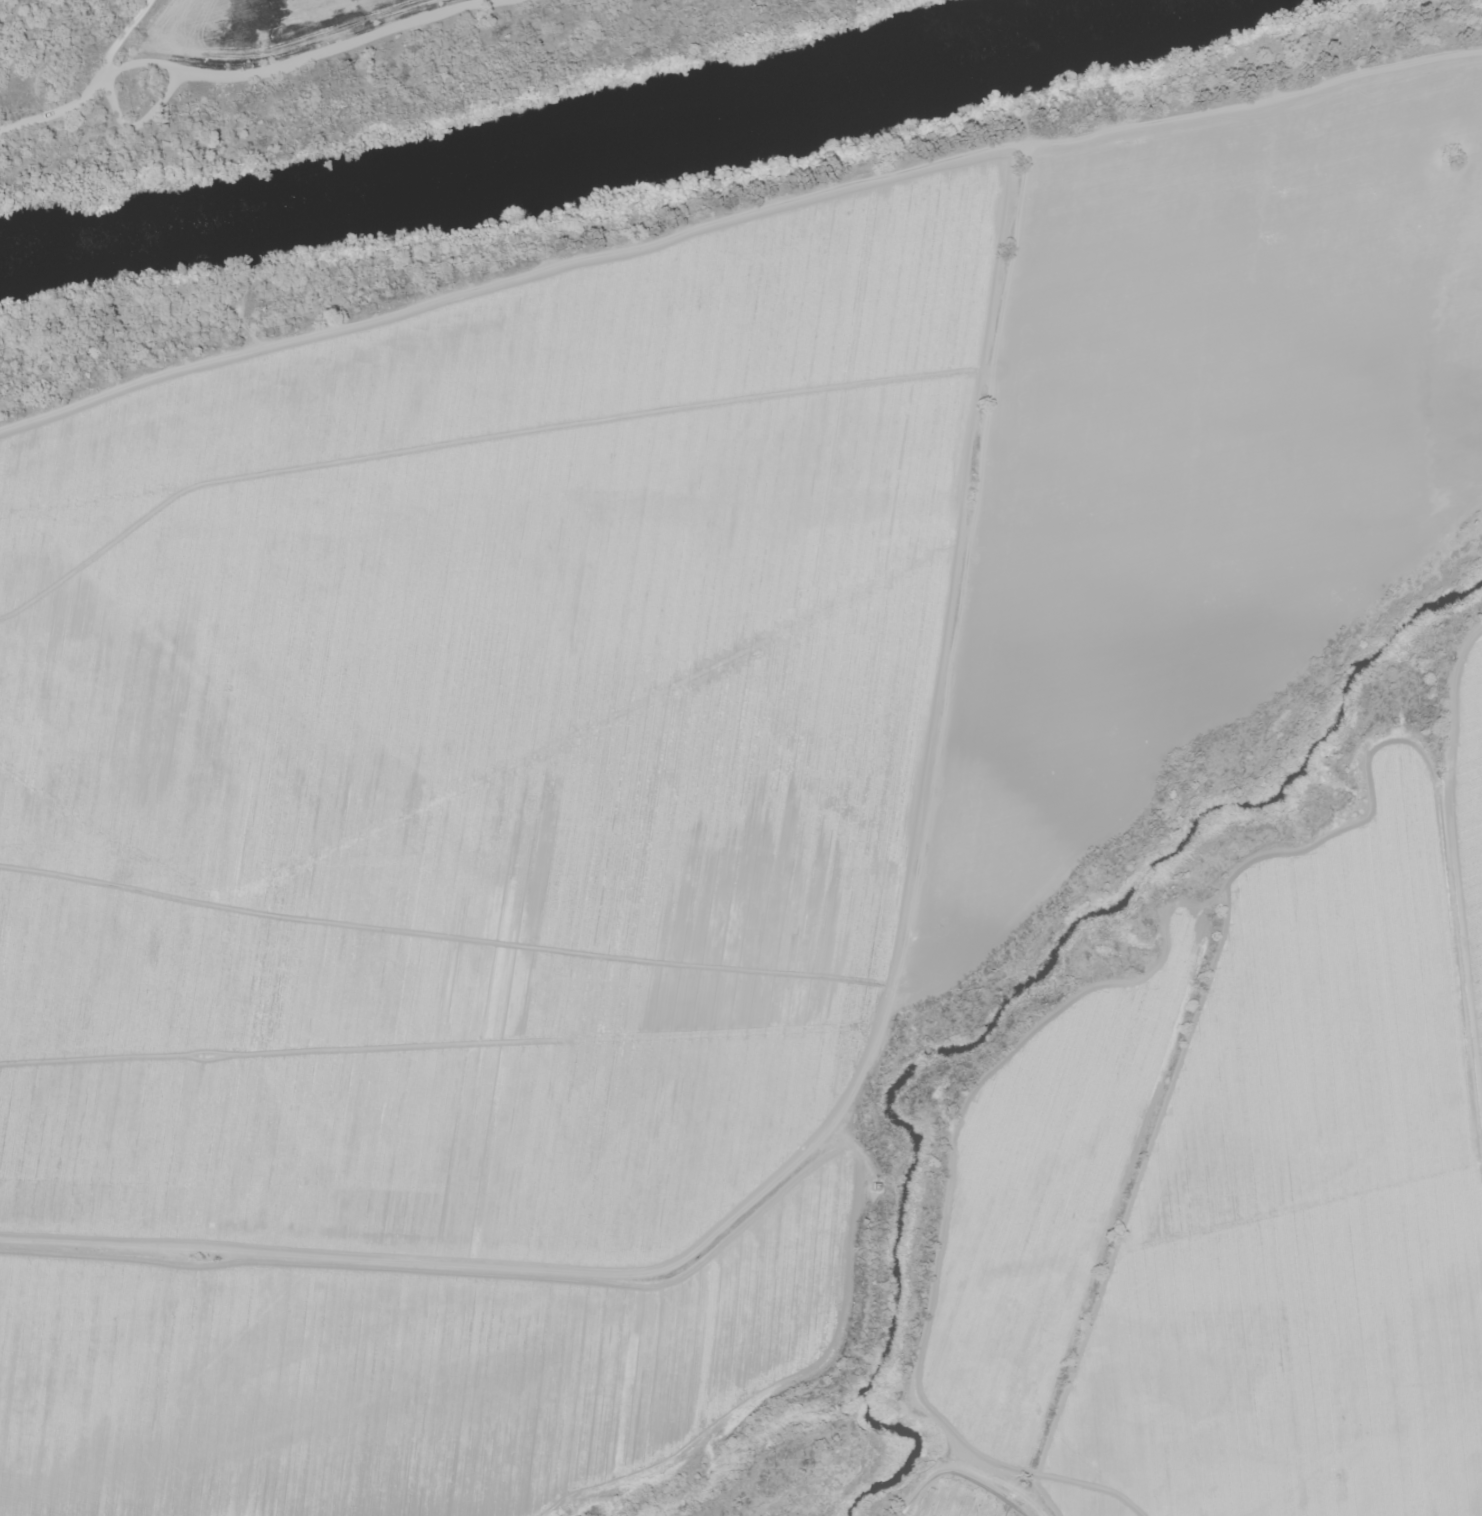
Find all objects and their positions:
river: (571, 146)
river: (1367, 669)

